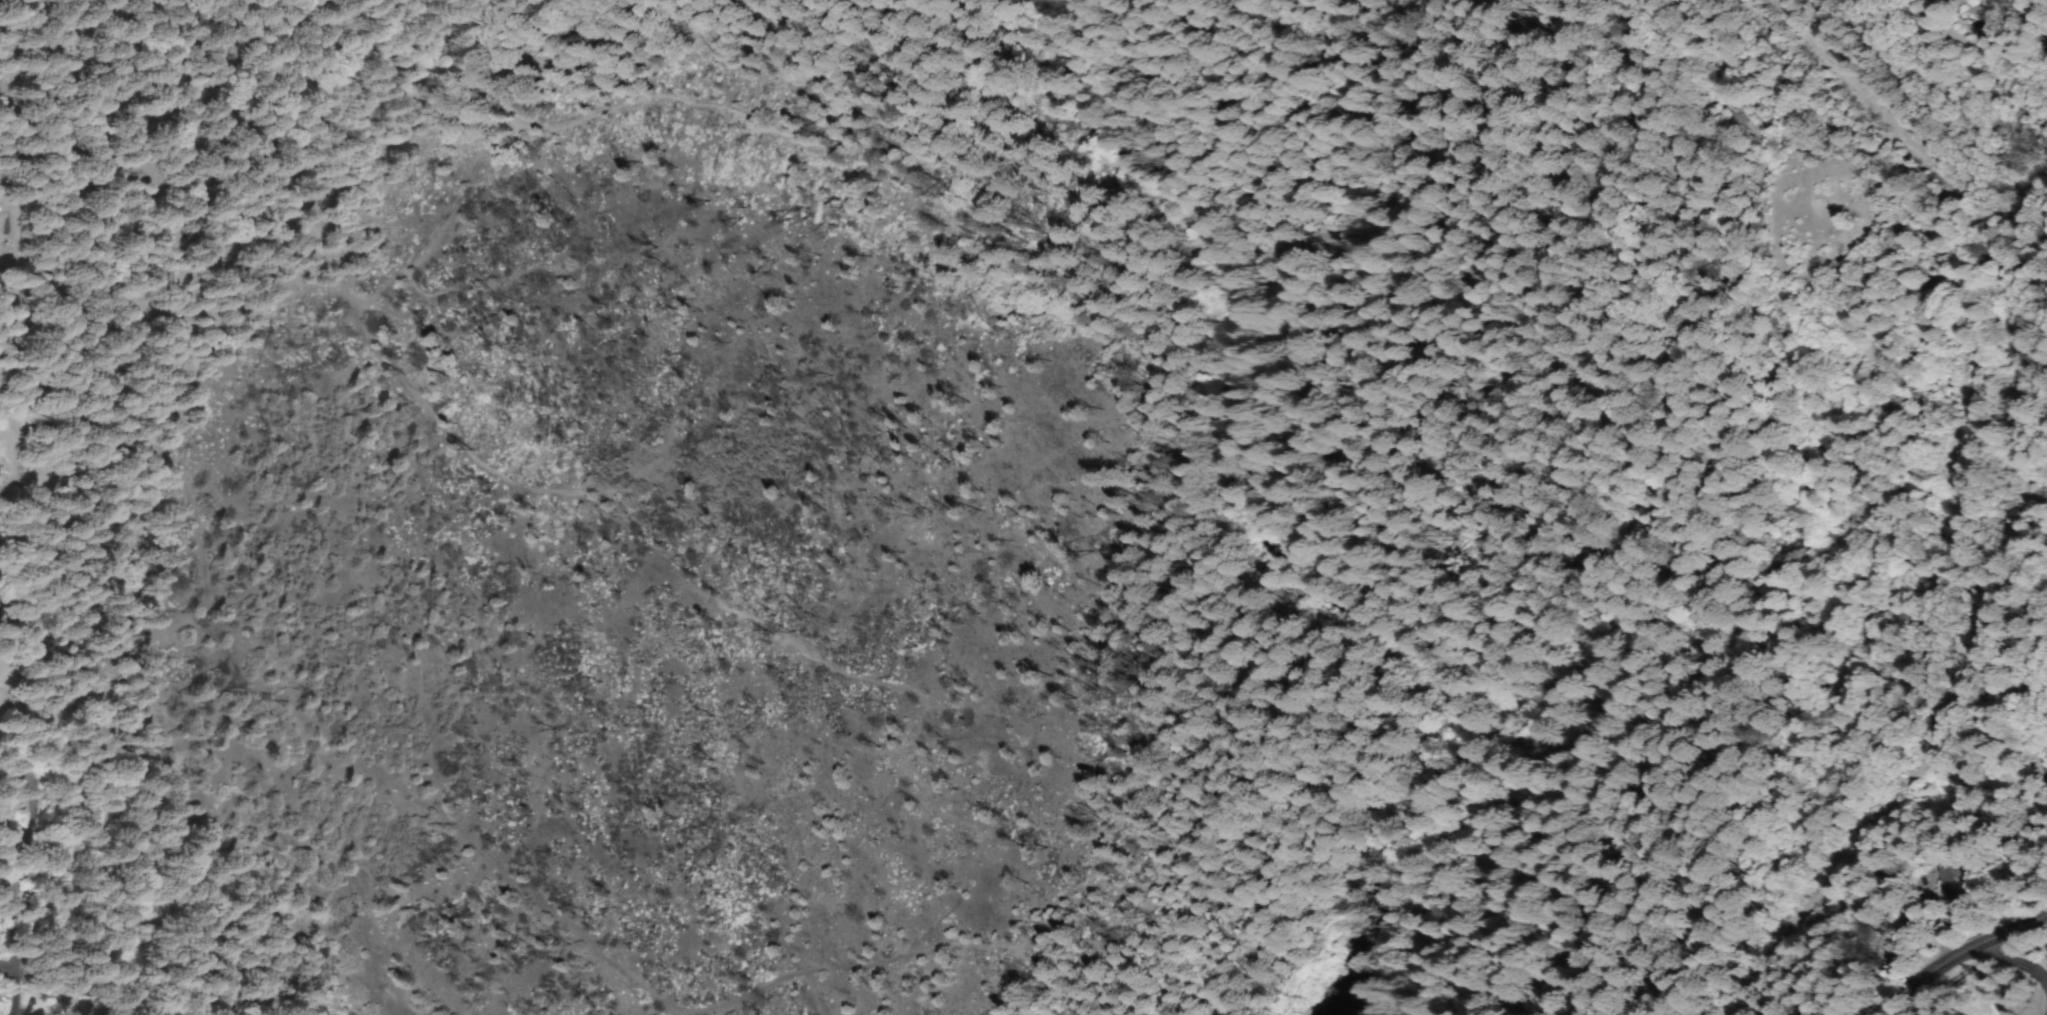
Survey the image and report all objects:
building: (2023, 0)
building: (1999, 1)
road: (403, 55)
road: (2037, 102)
road: (406, 233)
road: (421, 454)
road: (2008, 501)
road: (426, 727)
road: (2030, 934)
road: (426, 935)
road: (1956, 959)

